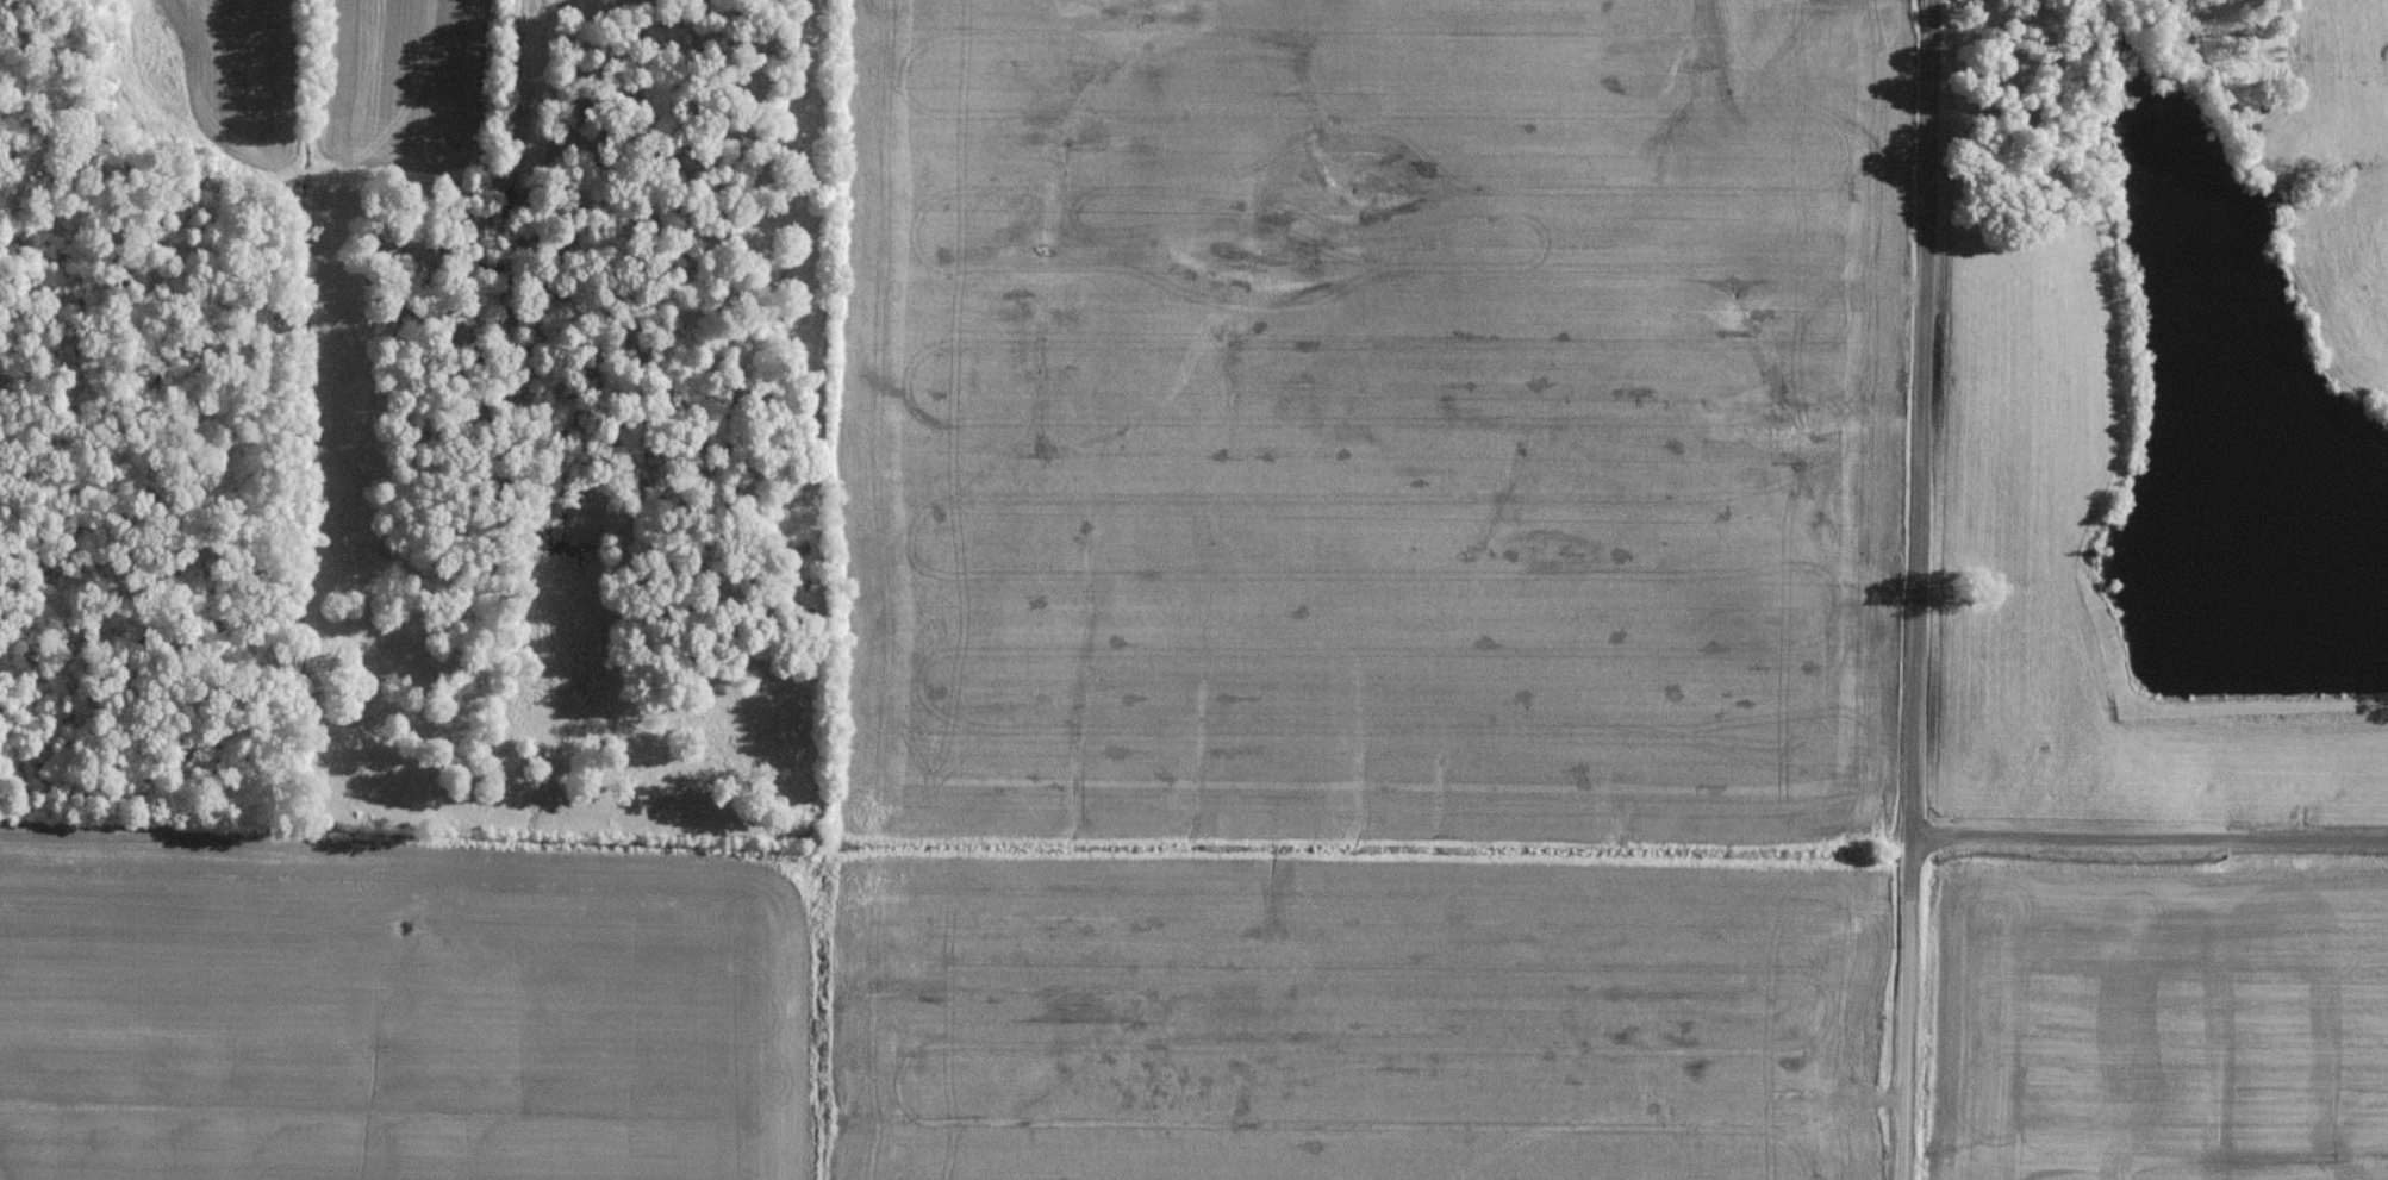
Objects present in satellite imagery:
road: (1925, 589)
road: (2155, 834)

